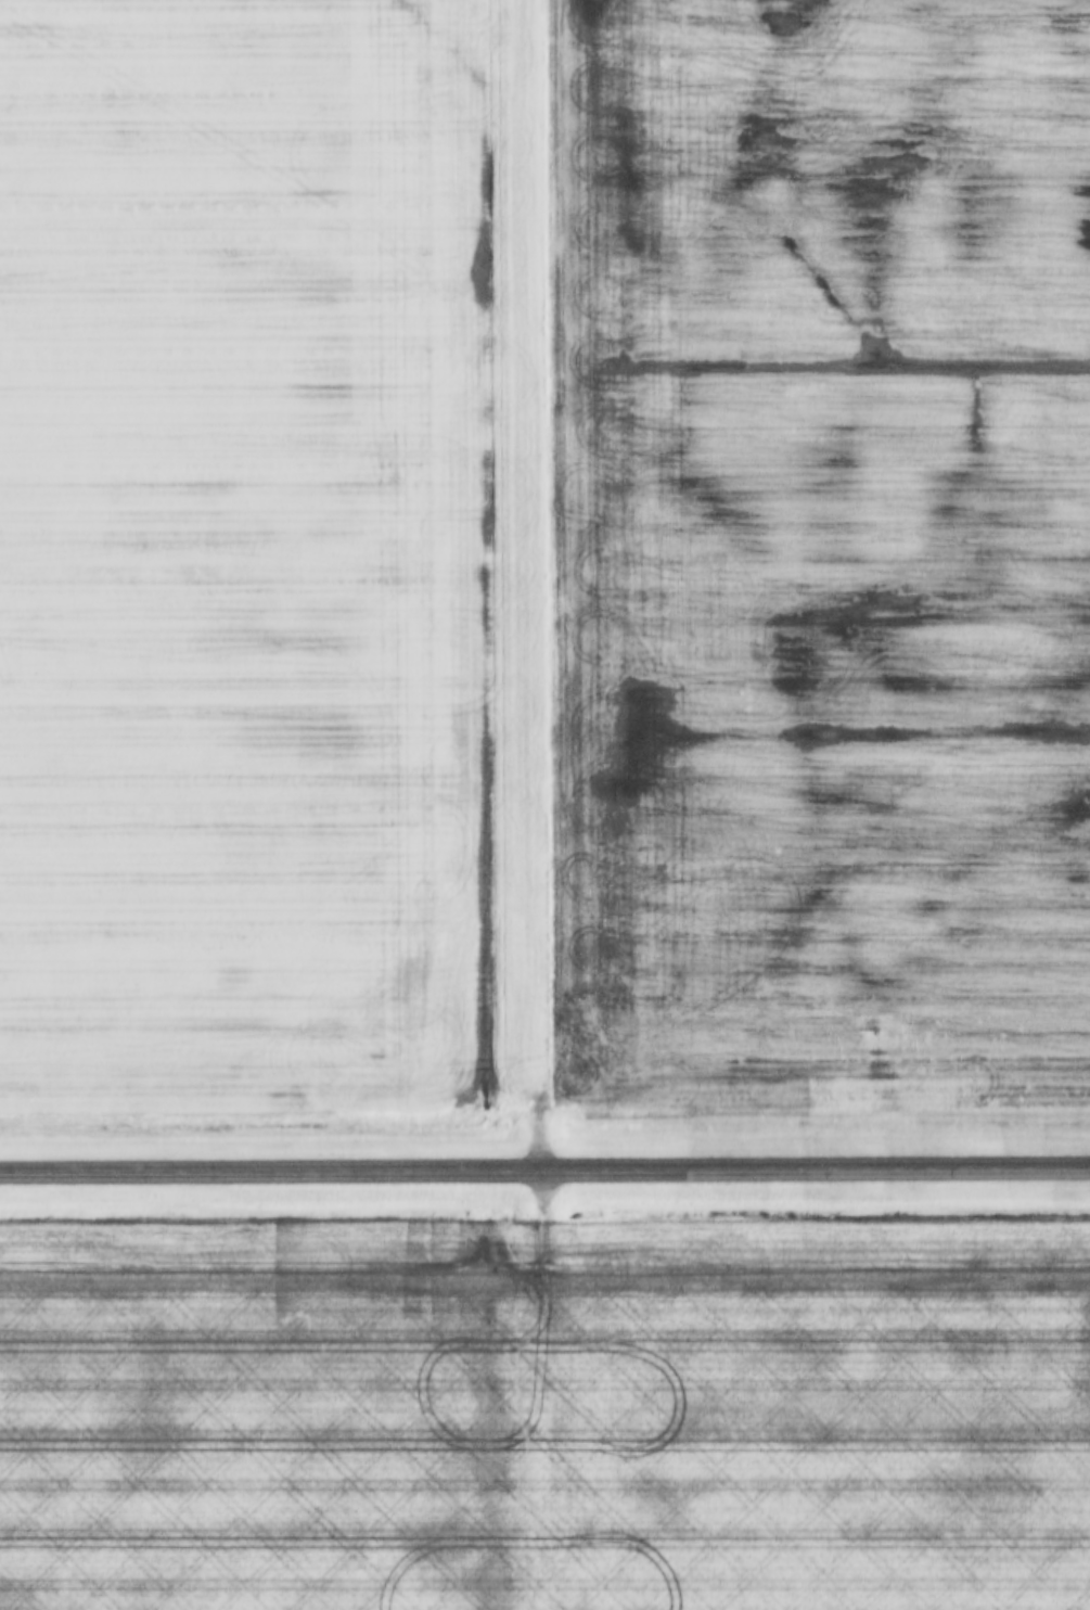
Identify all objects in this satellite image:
road: (544, 1177)
crop: (546, 1418)

